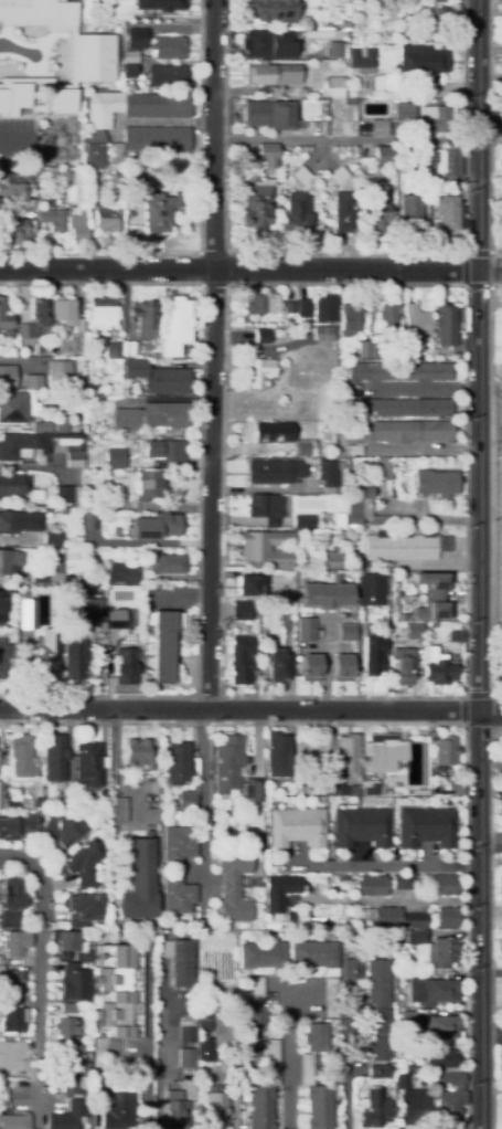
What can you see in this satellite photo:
building: (430, 0)
building: (163, 4)
building: (39, 10)
building: (114, 10)
building: (268, 11)
building: (436, 19)
building: (99, 25)
building: (129, 25)
building: (312, 25)
building: (343, 25)
building: (260, 44)
building: (151, 45)
building: (394, 49)
building: (333, 50)
building: (361, 59)
building: (424, 60)
building: (38, 61)
building: (341, 65)
building: (129, 71)
building: (273, 74)
building: (167, 76)
building: (333, 86)
building: (352, 89)
building: (429, 93)
building: (282, 95)
building: (36, 107)
building: (400, 112)
building: (269, 115)
building: (126, 116)
building: (427, 119)
road: (490, 125)
building: (377, 127)
parking lot: (12, 137)
road: (299, 138)
building: (156, 139)
road: (15, 140)
building: (268, 155)
building: (381, 156)
building: (399, 166)
building: (442, 166)
building: (300, 176)
building: (339, 176)
building: (135, 177)
building: (18, 184)
building: (23, 202)
building: (47, 202)
road: (490, 202)
building: (255, 207)
building: (373, 210)
building: (157, 211)
building: (341, 212)
building: (447, 212)
building: (295, 213)
building: (410, 213)
parking lot: (501, 218)
building: (52, 219)
building: (107, 220)
building: (77, 229)
building: (14, 232)
road: (238, 268)
road: (490, 268)
road: (490, 268)
road: (463, 270)
parking lot: (496, 273)
park: (496, 283)
road: (226, 287)
building: (259, 304)
building: (19, 305)
building: (287, 307)
building: (301, 308)
building: (323, 309)
building: (100, 310)
building: (64, 314)
building: (4, 317)
building: (387, 317)
building: (348, 318)
building: (142, 319)
building: (36, 320)
building: (416, 323)
building: (446, 325)
building: (172, 326)
building: (297, 329)
building: (321, 334)
building: (260, 336)
building: (361, 349)
building: (377, 350)
building: (111, 351)
building: (124, 351)
road: (211, 355)
road: (479, 355)
building: (152, 356)
building: (456, 357)
building: (398, 371)
building: (256, 372)
building: (60, 374)
building: (8, 377)
building: (154, 379)
building: (33, 382)
building: (17, 408)
building: (397, 408)
building: (151, 416)
building: (77, 419)
building: (61, 424)
building: (41, 426)
building: (398, 432)
building: (276, 440)
building: (17, 446)
building: (66, 446)
building: (164, 451)
building: (349, 451)
building: (115, 456)
building: (383, 468)
building: (274, 471)
building: (328, 474)
building: (436, 483)
building: (13, 485)
building: (150, 485)
building: (68, 494)
road: (489, 494)
building: (36, 495)
building: (96, 500)
building: (365, 505)
building: (263, 506)
building: (62, 510)
building: (107, 517)
building: (339, 518)
building: (302, 520)
building: (17, 524)
building: (161, 526)
building: (344, 537)
building: (53, 540)
building: (267, 547)
building: (399, 548)
building: (72, 555)
building: (333, 558)
building: (9, 560)
building: (167, 563)
building: (120, 573)
building: (45, 576)
building: (253, 585)
building: (373, 589)
building: (325, 595)
building: (432, 595)
building: (288, 608)
building: (83, 610)
building: (242, 611)
building: (1, 613)
building: (28, 614)
building: (116, 620)
building: (306, 630)
building: (346, 632)
building: (456, 636)
building: (163, 646)
building: (10, 647)
building: (45, 654)
building: (374, 654)
building: (73, 655)
building: (408, 655)
building: (1, 656)
building: (242, 660)
building: (277, 665)
building: (126, 666)
building: (342, 667)
building: (310, 668)
building: (439, 673)
road: (463, 695)
road: (239, 709)
road: (491, 710)
road: (117, 749)
building: (445, 751)
building: (139, 755)
building: (277, 755)
building: (348, 755)
building: (21, 758)
building: (381, 758)
building: (55, 759)
building: (178, 762)
building: (227, 763)
building: (88, 766)
building: (256, 777)
building: (306, 778)
building: (455, 788)
building: (339, 789)
building: (313, 792)
building: (417, 792)
building: (252, 793)
building: (186, 799)
building: (13, 801)
building: (64, 801)
building: (38, 802)
building: (150, 802)
road: (202, 809)
building: (119, 811)
building: (17, 826)
building: (297, 827)
building: (361, 827)
building: (426, 827)
building: (62, 831)
road: (491, 835)
building: (177, 845)
building: (259, 845)
building: (79, 864)
road: (384, 865)
building: (139, 880)
building: (403, 883)
building: (445, 884)
building: (233, 886)
building: (371, 886)
building: (280, 894)
building: (177, 896)
road: (384, 899)
building: (11, 901)
building: (83, 909)
building: (385, 917)
building: (447, 917)
road: (480, 919)
building: (415, 920)
road: (490, 924)
road: (466, 926)
building: (15, 943)
building: (66, 943)
building: (435, 949)
building: (314, 954)
building: (82, 956)
building: (263, 956)
building: (179, 961)
building: (1, 968)
building: (351, 969)
building: (12, 981)
road: (41, 982)
building: (74, 986)
building: (257, 990)
building: (436, 991)
building: (119, 992)
building: (330, 995)
building: (67, 1007)
building: (377, 1009)
building: (406, 1017)
building: (253, 1019)
building: (203, 1021)
building: (13, 1023)
building: (441, 1027)
road: (491, 1027)
building: (68, 1031)
building: (186, 1035)
building: (316, 1038)
building: (249, 1047)
building: (2, 1048)
building: (204, 1051)
building: (86, 1052)
building: (445, 1053)
road: (161, 1054)
building: (185, 1057)
road: (285, 1057)
building: (67, 1058)
building: (410, 1068)
building: (84, 1069)
building: (377, 1072)
building: (50, 1078)
building: (72, 1085)
building: (265, 1090)
building: (3, 1094)
building: (314, 1096)
building: (412, 1100)
building: (449, 1100)
building: (117, 1107)
building: (215, 1108)
building: (373, 1109)
building: (174, 1110)
building: (71, 1116)
building: (14, 1121)

